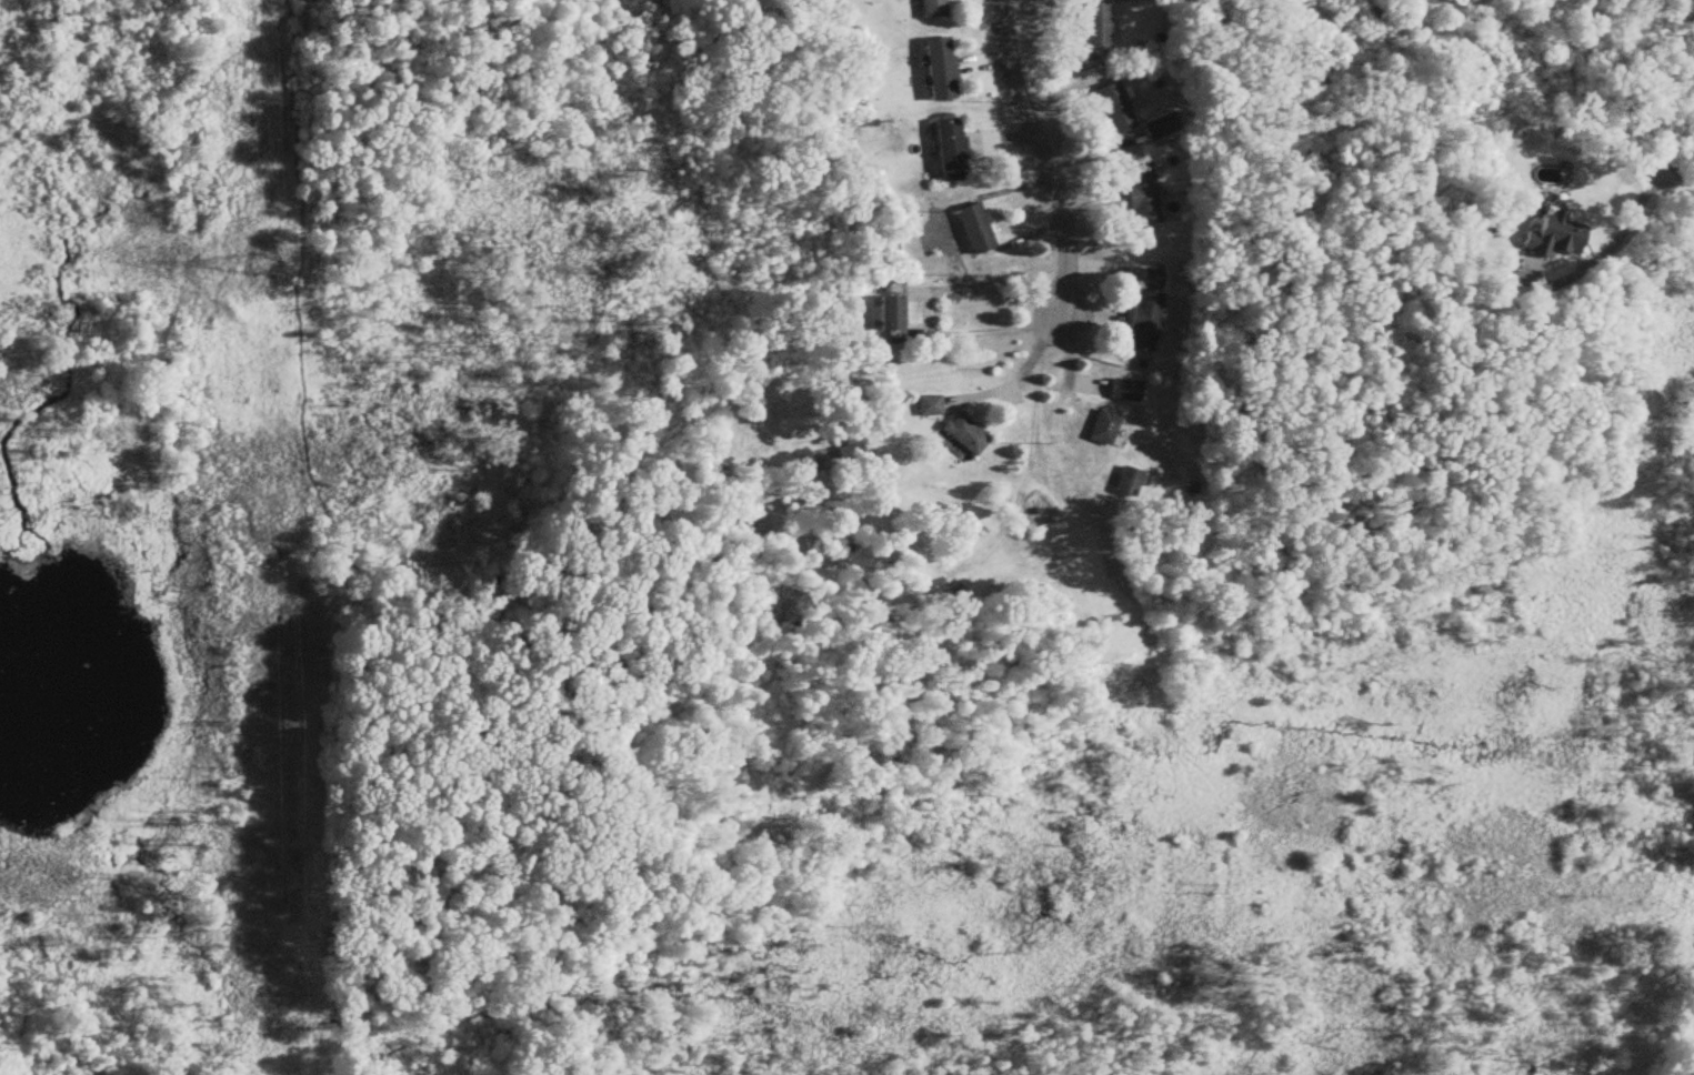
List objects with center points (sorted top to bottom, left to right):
building: (1121, 0)
building: (934, 9)
building: (1099, 28)
building: (942, 69)
building: (1116, 108)
building: (1162, 128)
building: (953, 150)
road: (1044, 159)
building: (1143, 195)
building: (978, 229)
road: (1617, 235)
building: (1555, 237)
power tower: (263, 264)
road: (923, 304)
building: (1147, 311)
building: (893, 313)
road: (1019, 373)
building: (1126, 391)
building: (930, 406)
building: (1105, 428)
building: (968, 435)
building: (1130, 483)
power tower: (281, 724)

